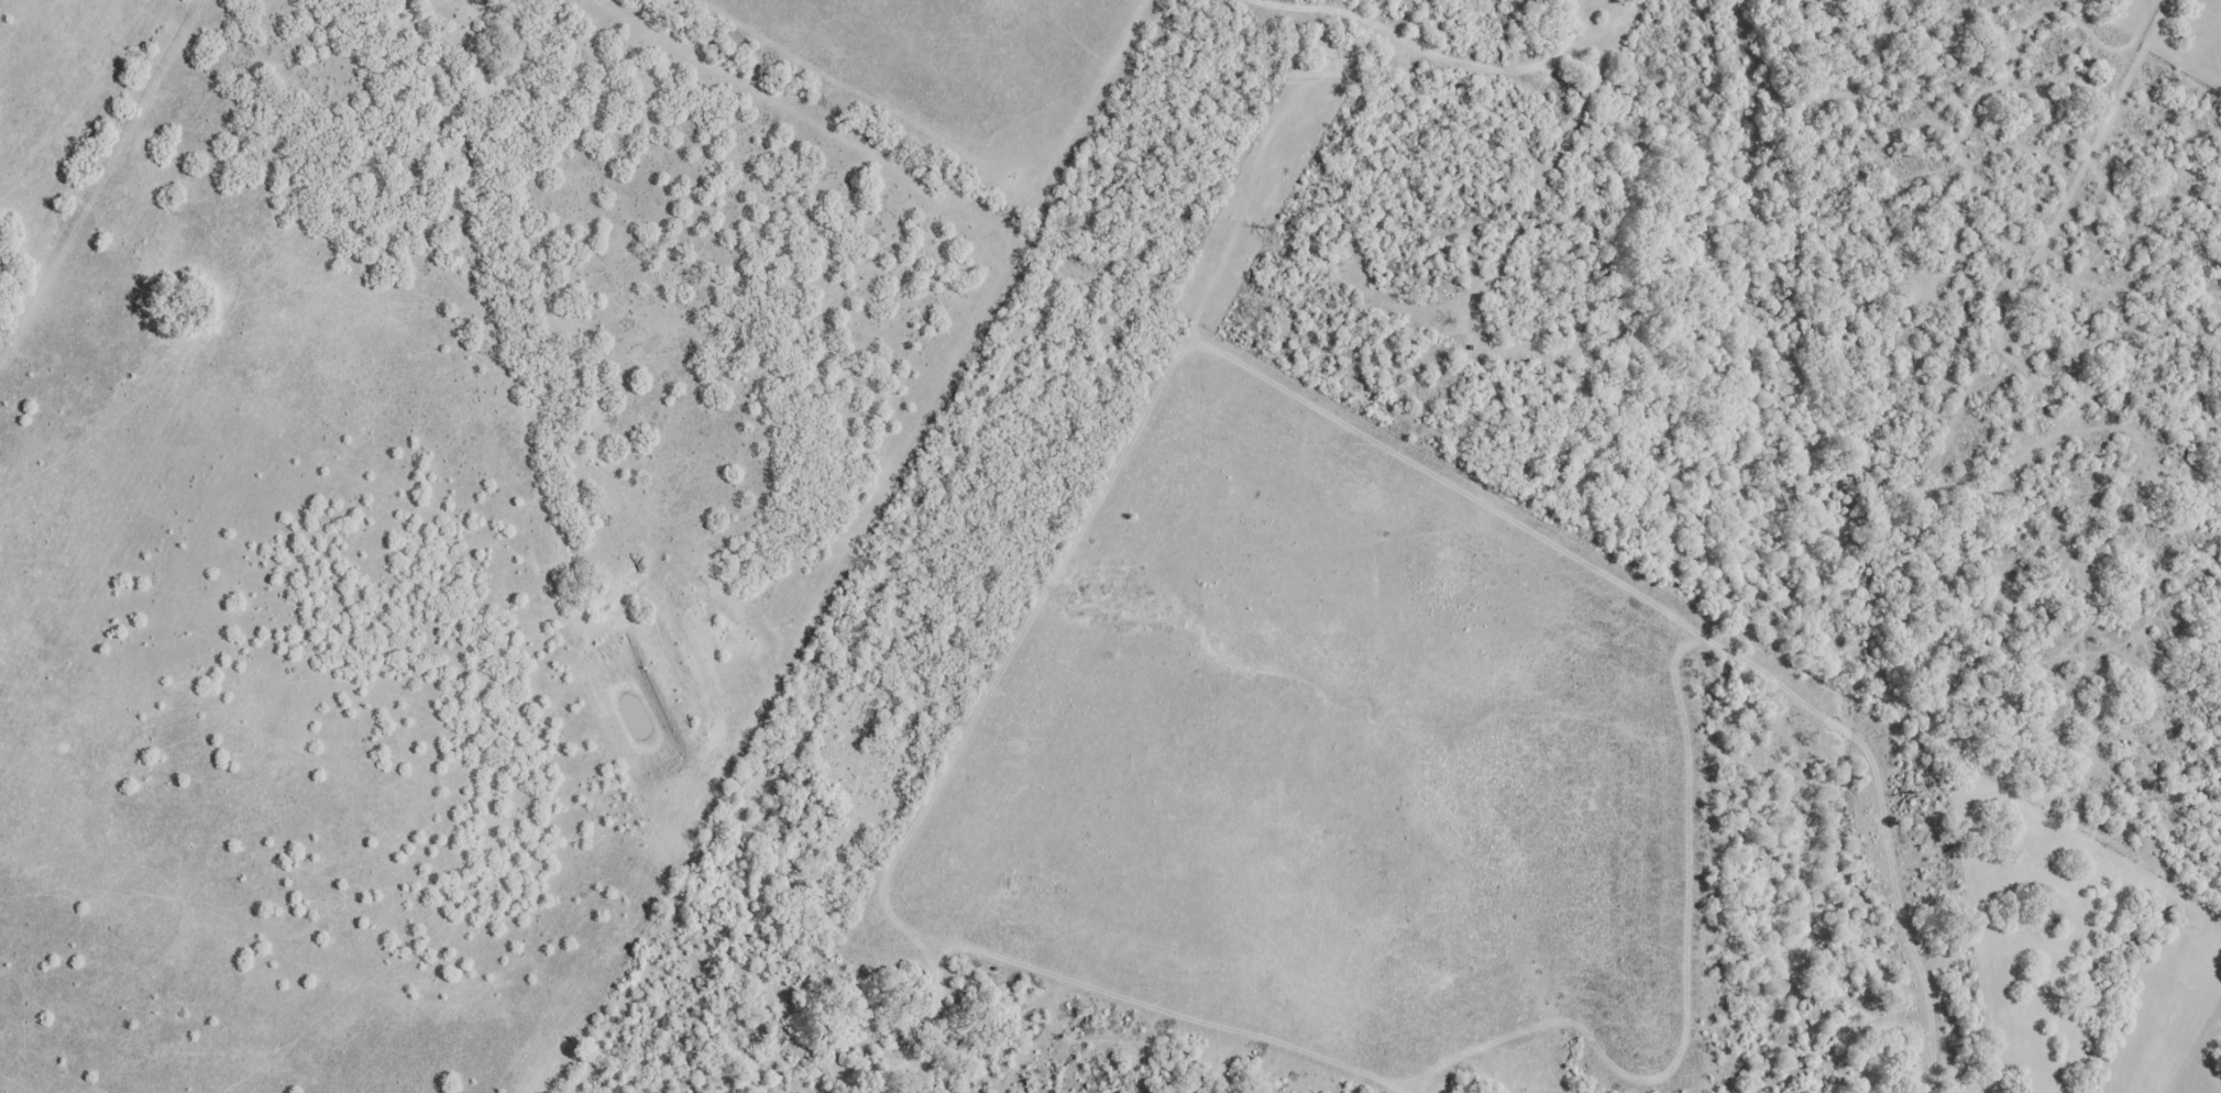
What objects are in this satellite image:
river: (1794, 551)

